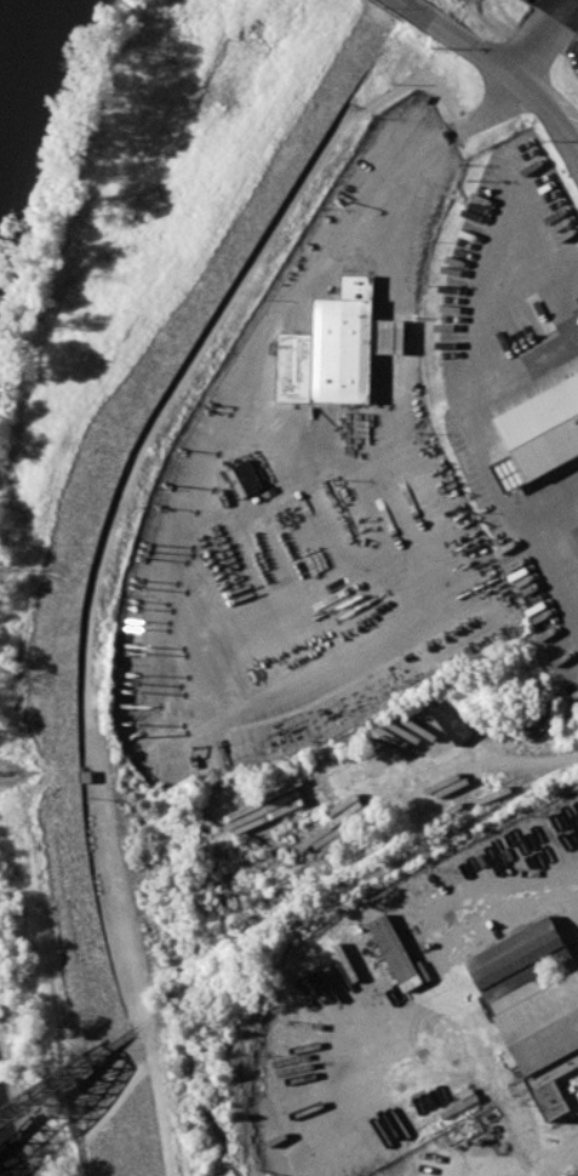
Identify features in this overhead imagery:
road: (404, 4)
parking lot: (560, 10)
road: (504, 25)
road: (540, 36)
parking lot: (574, 55)
road: (503, 67)
road: (494, 109)
road: (404, 171)
building: (389, 336)
building: (331, 348)
parking lot: (517, 375)
road: (464, 381)
building: (543, 427)
building: (245, 476)
road: (562, 509)
parking lot: (307, 513)
road: (104, 553)
building: (451, 721)
building: (395, 953)
building: (533, 1009)
road: (481, 1049)
railway: (70, 1078)
road: (557, 1146)

